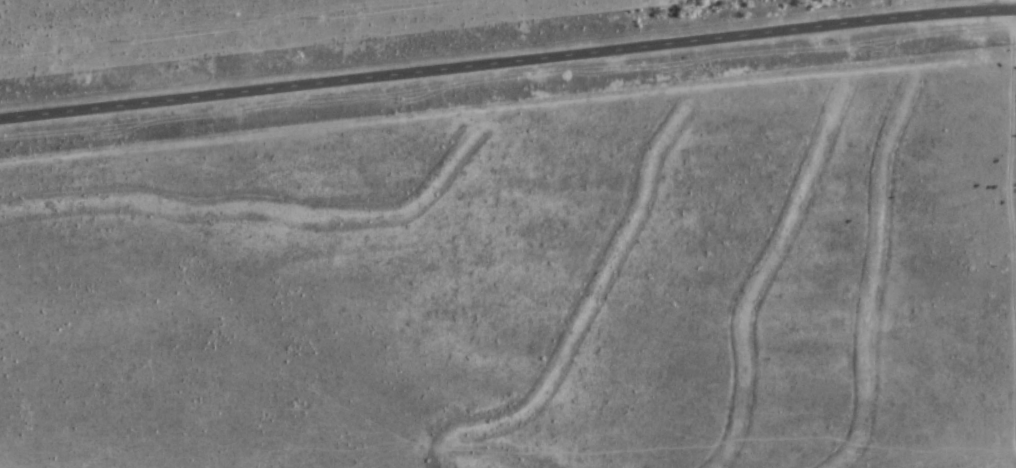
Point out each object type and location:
road: (1007, 6)
road: (507, 67)

